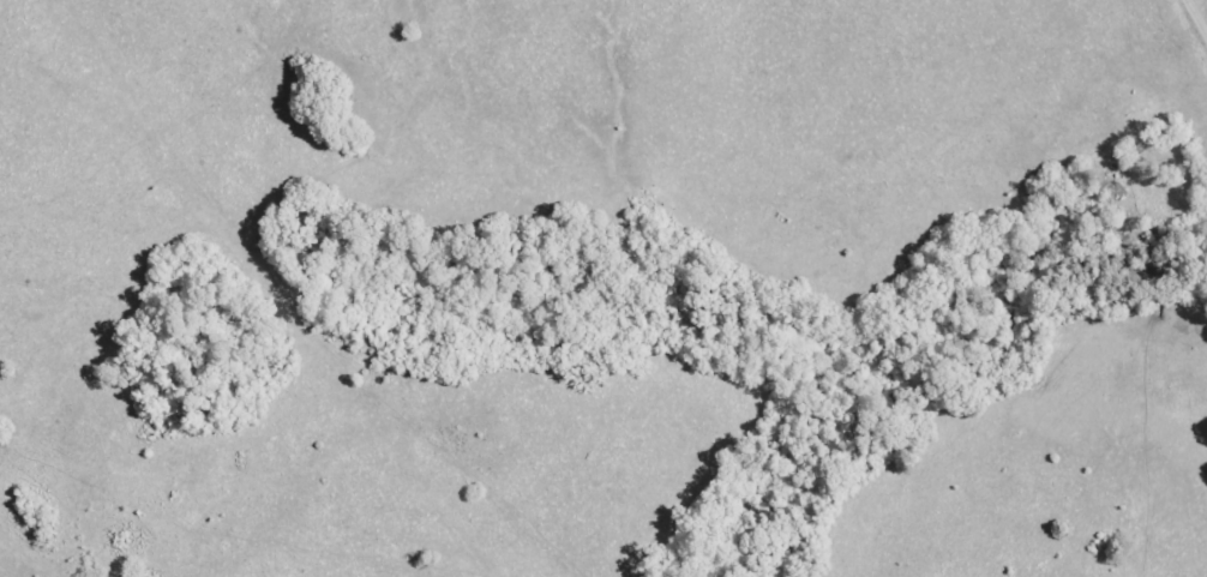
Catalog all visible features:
road: (1199, 13)

